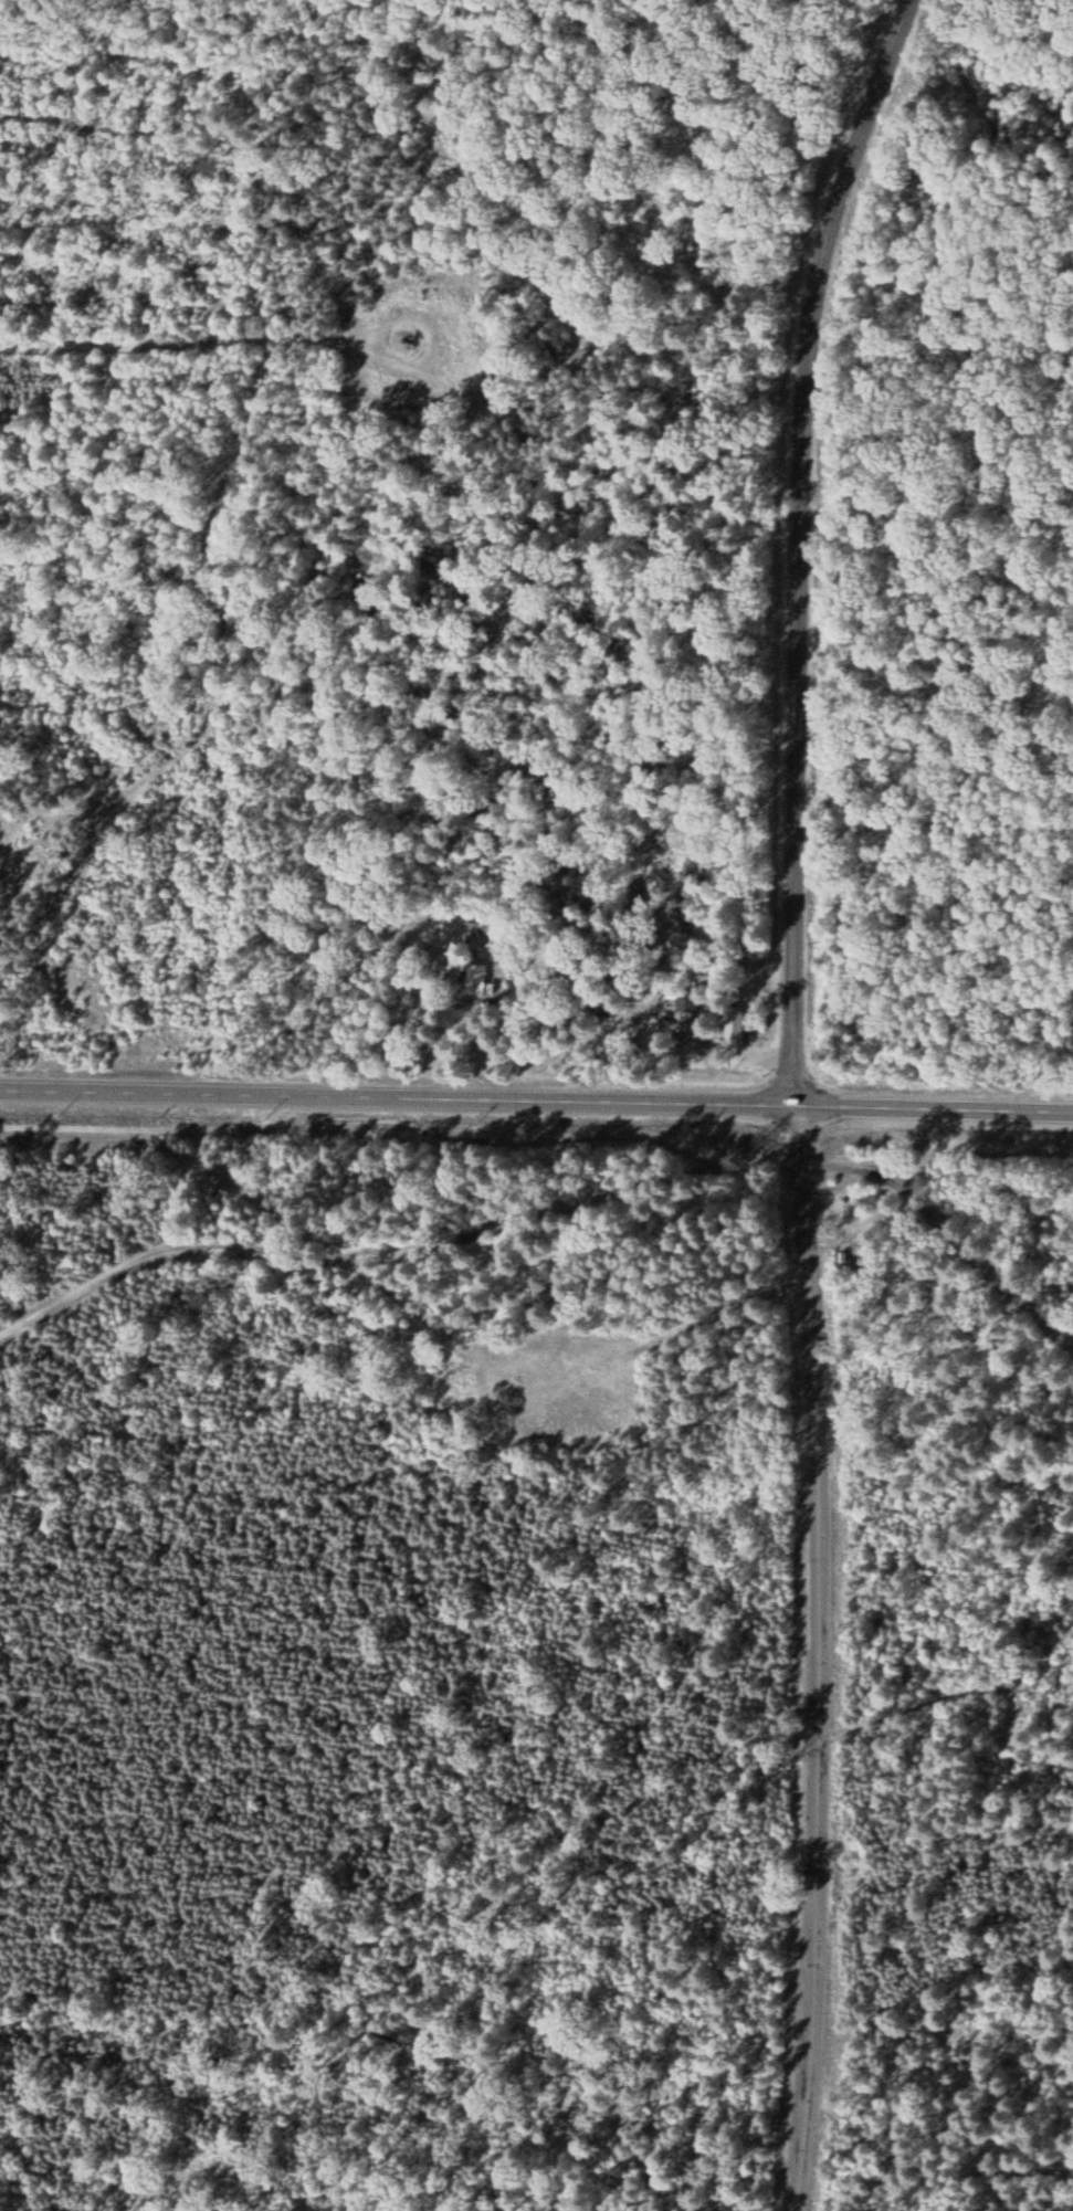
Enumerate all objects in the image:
petroleum well: (410, 343)
road: (162, 347)
road: (802, 546)
building: (474, 980)
building: (732, 1033)
road: (536, 1104)
road: (538, 1240)
road: (823, 1660)
road: (539, 1919)
road: (863, 2171)

